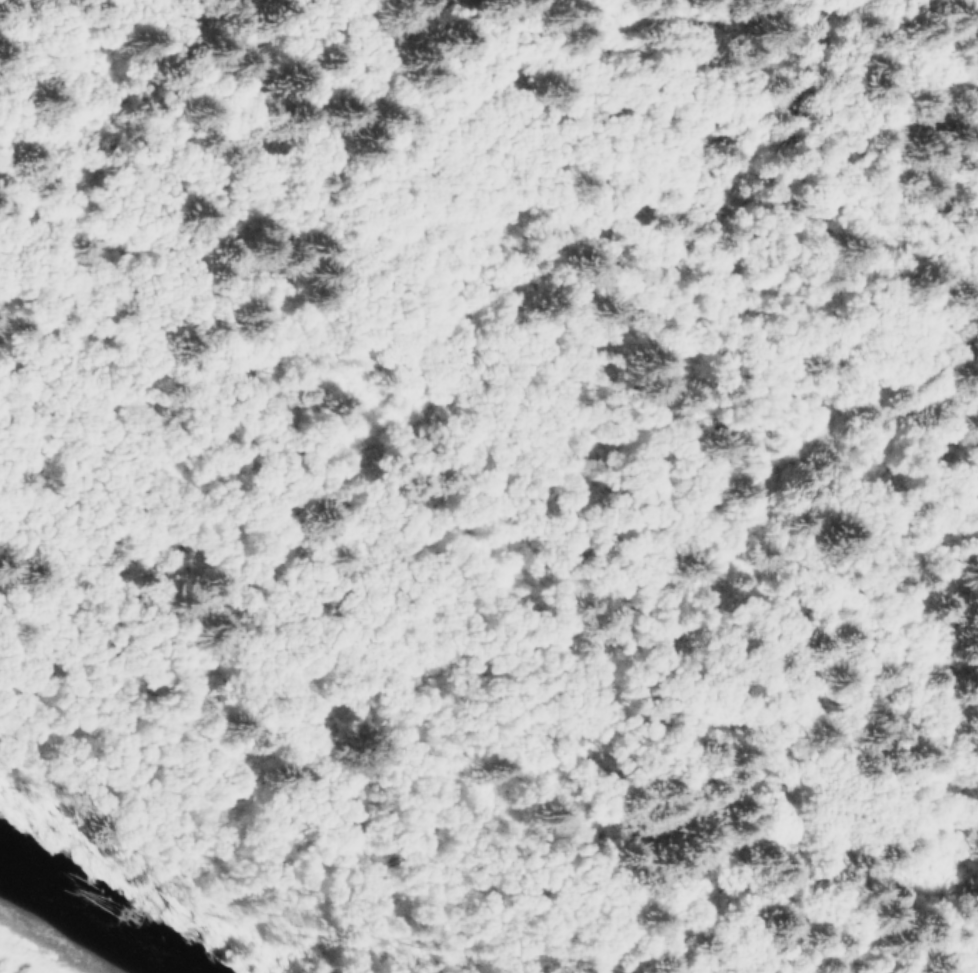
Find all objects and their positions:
river: (75, 919)

